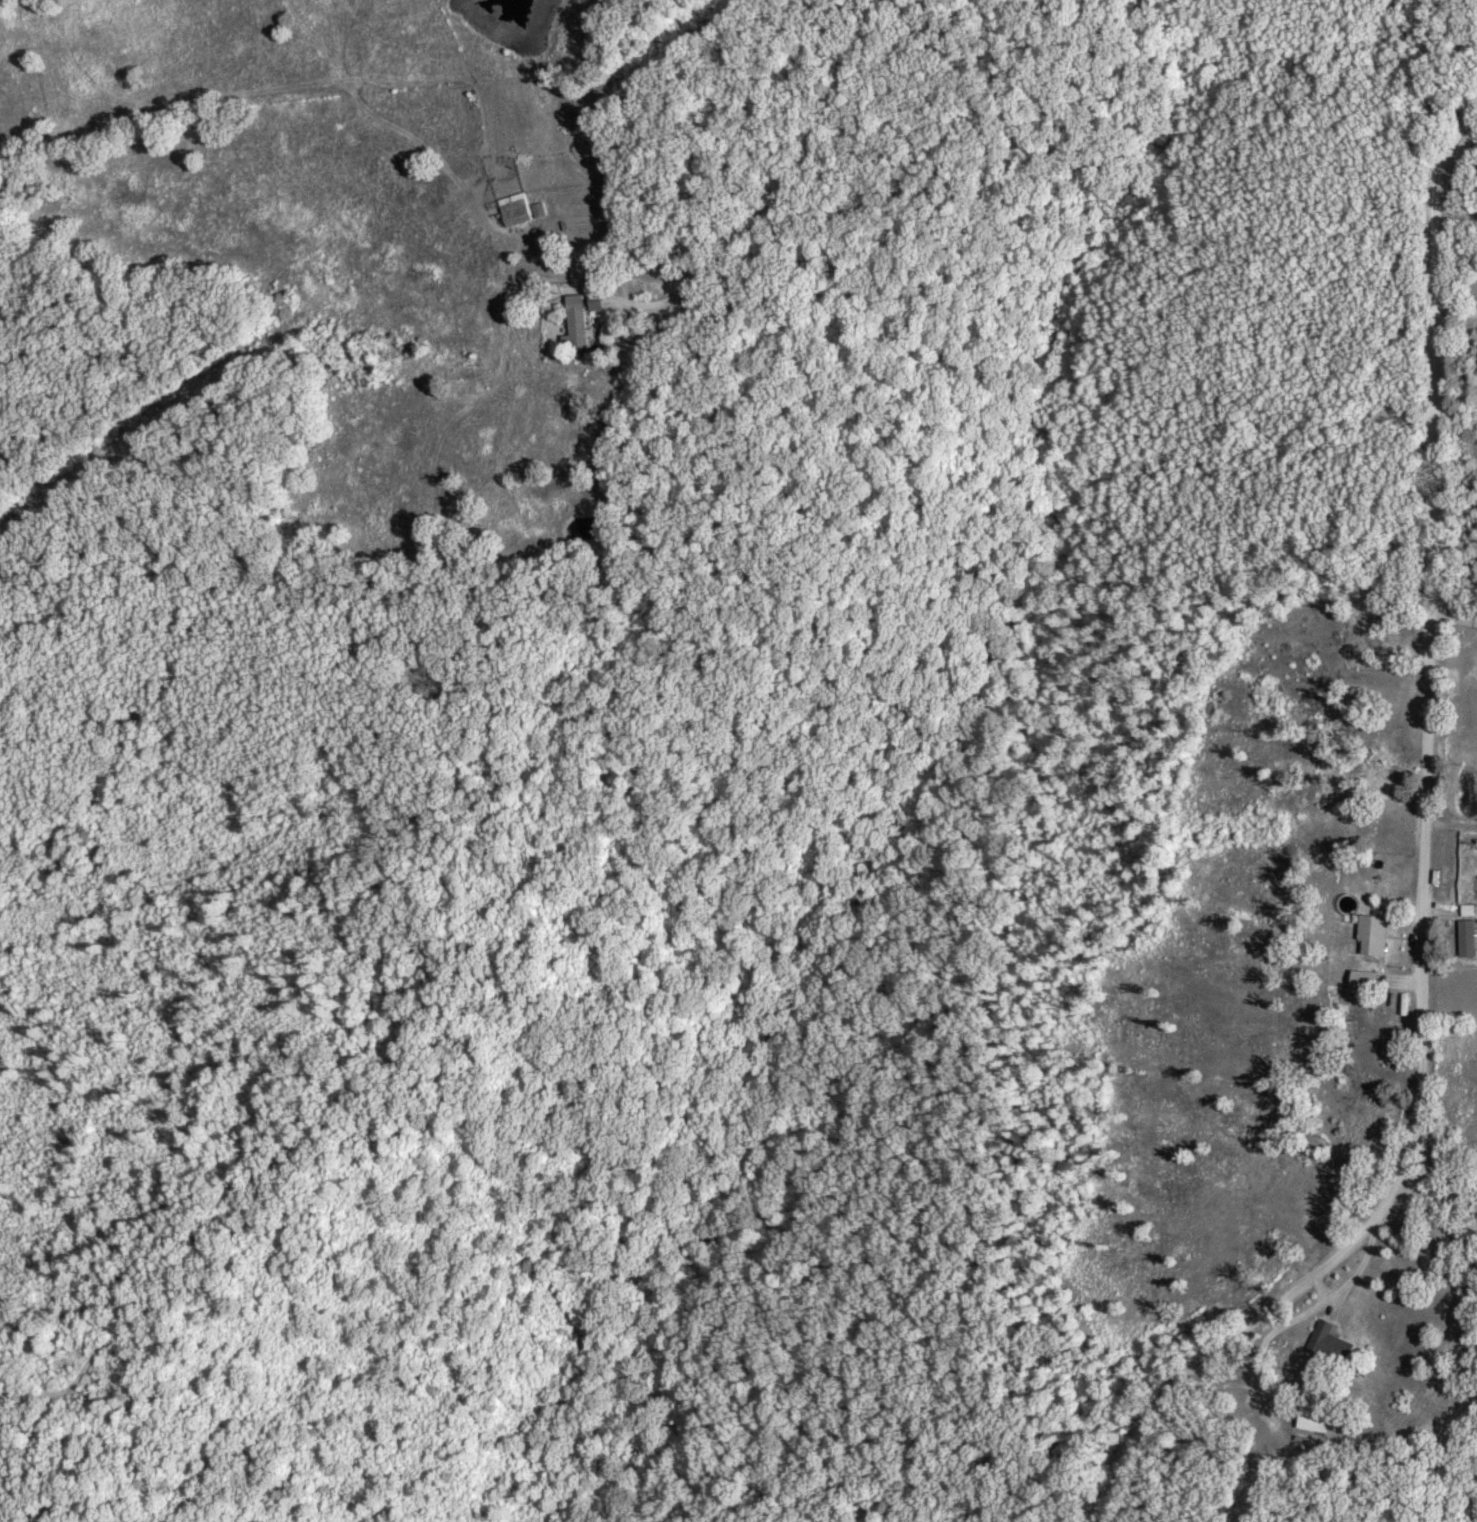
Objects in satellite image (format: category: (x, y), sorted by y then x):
road: (772, 196)
building: (599, 300)
building: (581, 322)
road: (1444, 323)
road: (1389, 812)
building: (1376, 933)
building: (1470, 936)
building: (1367, 980)
road: (1421, 1244)
building: (1314, 1414)

